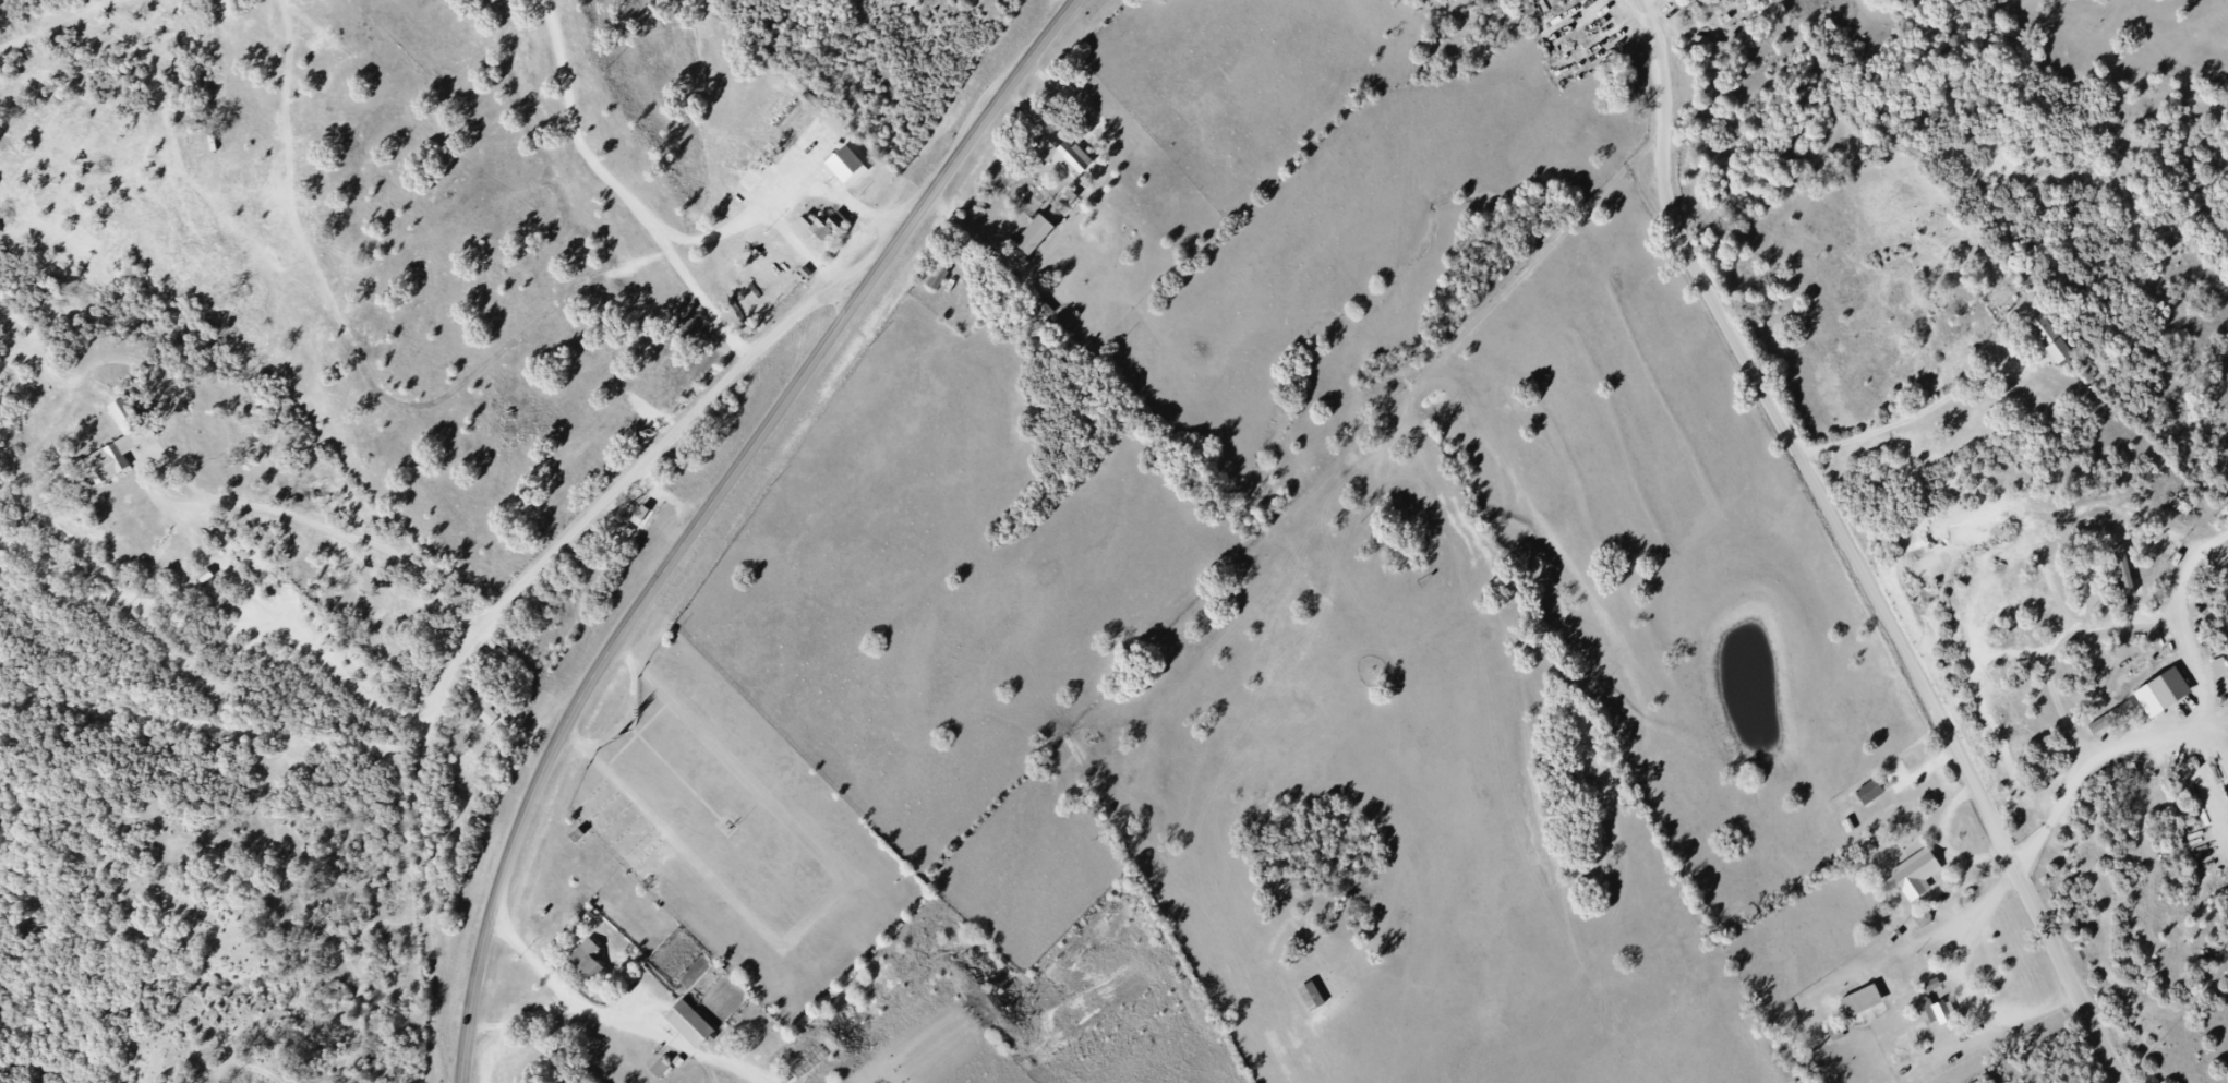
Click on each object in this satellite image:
building: (1555, 2)
building: (1708, 2)
building: (1069, 158)
building: (826, 219)
building: (1040, 241)
building: (2050, 339)
building: (121, 449)
road: (715, 513)
building: (640, 518)
road: (1858, 550)
building: (1916, 874)
building: (587, 961)
building: (1895, 985)
building: (1312, 997)
building: (1942, 1013)
building: (689, 1024)
building: (661, 1069)

